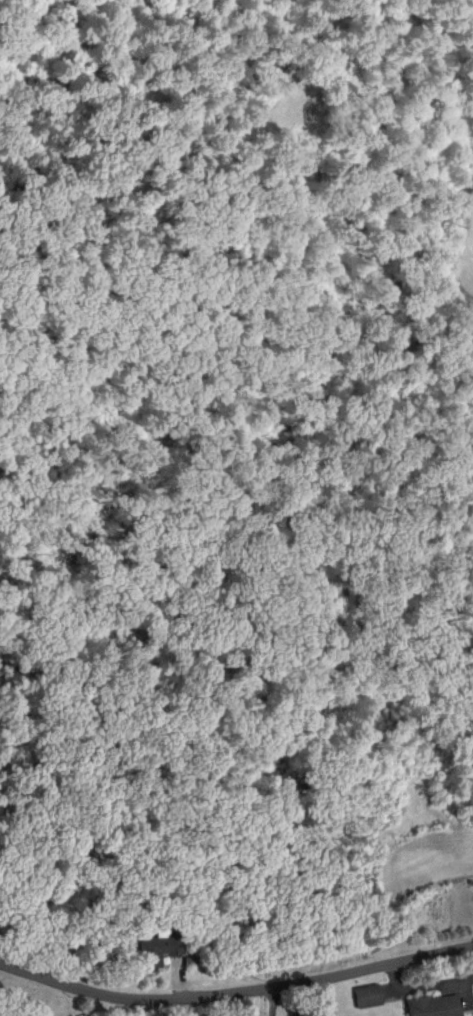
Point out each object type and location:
building: (158, 946)
road: (235, 992)
building: (364, 993)
building: (432, 1005)

